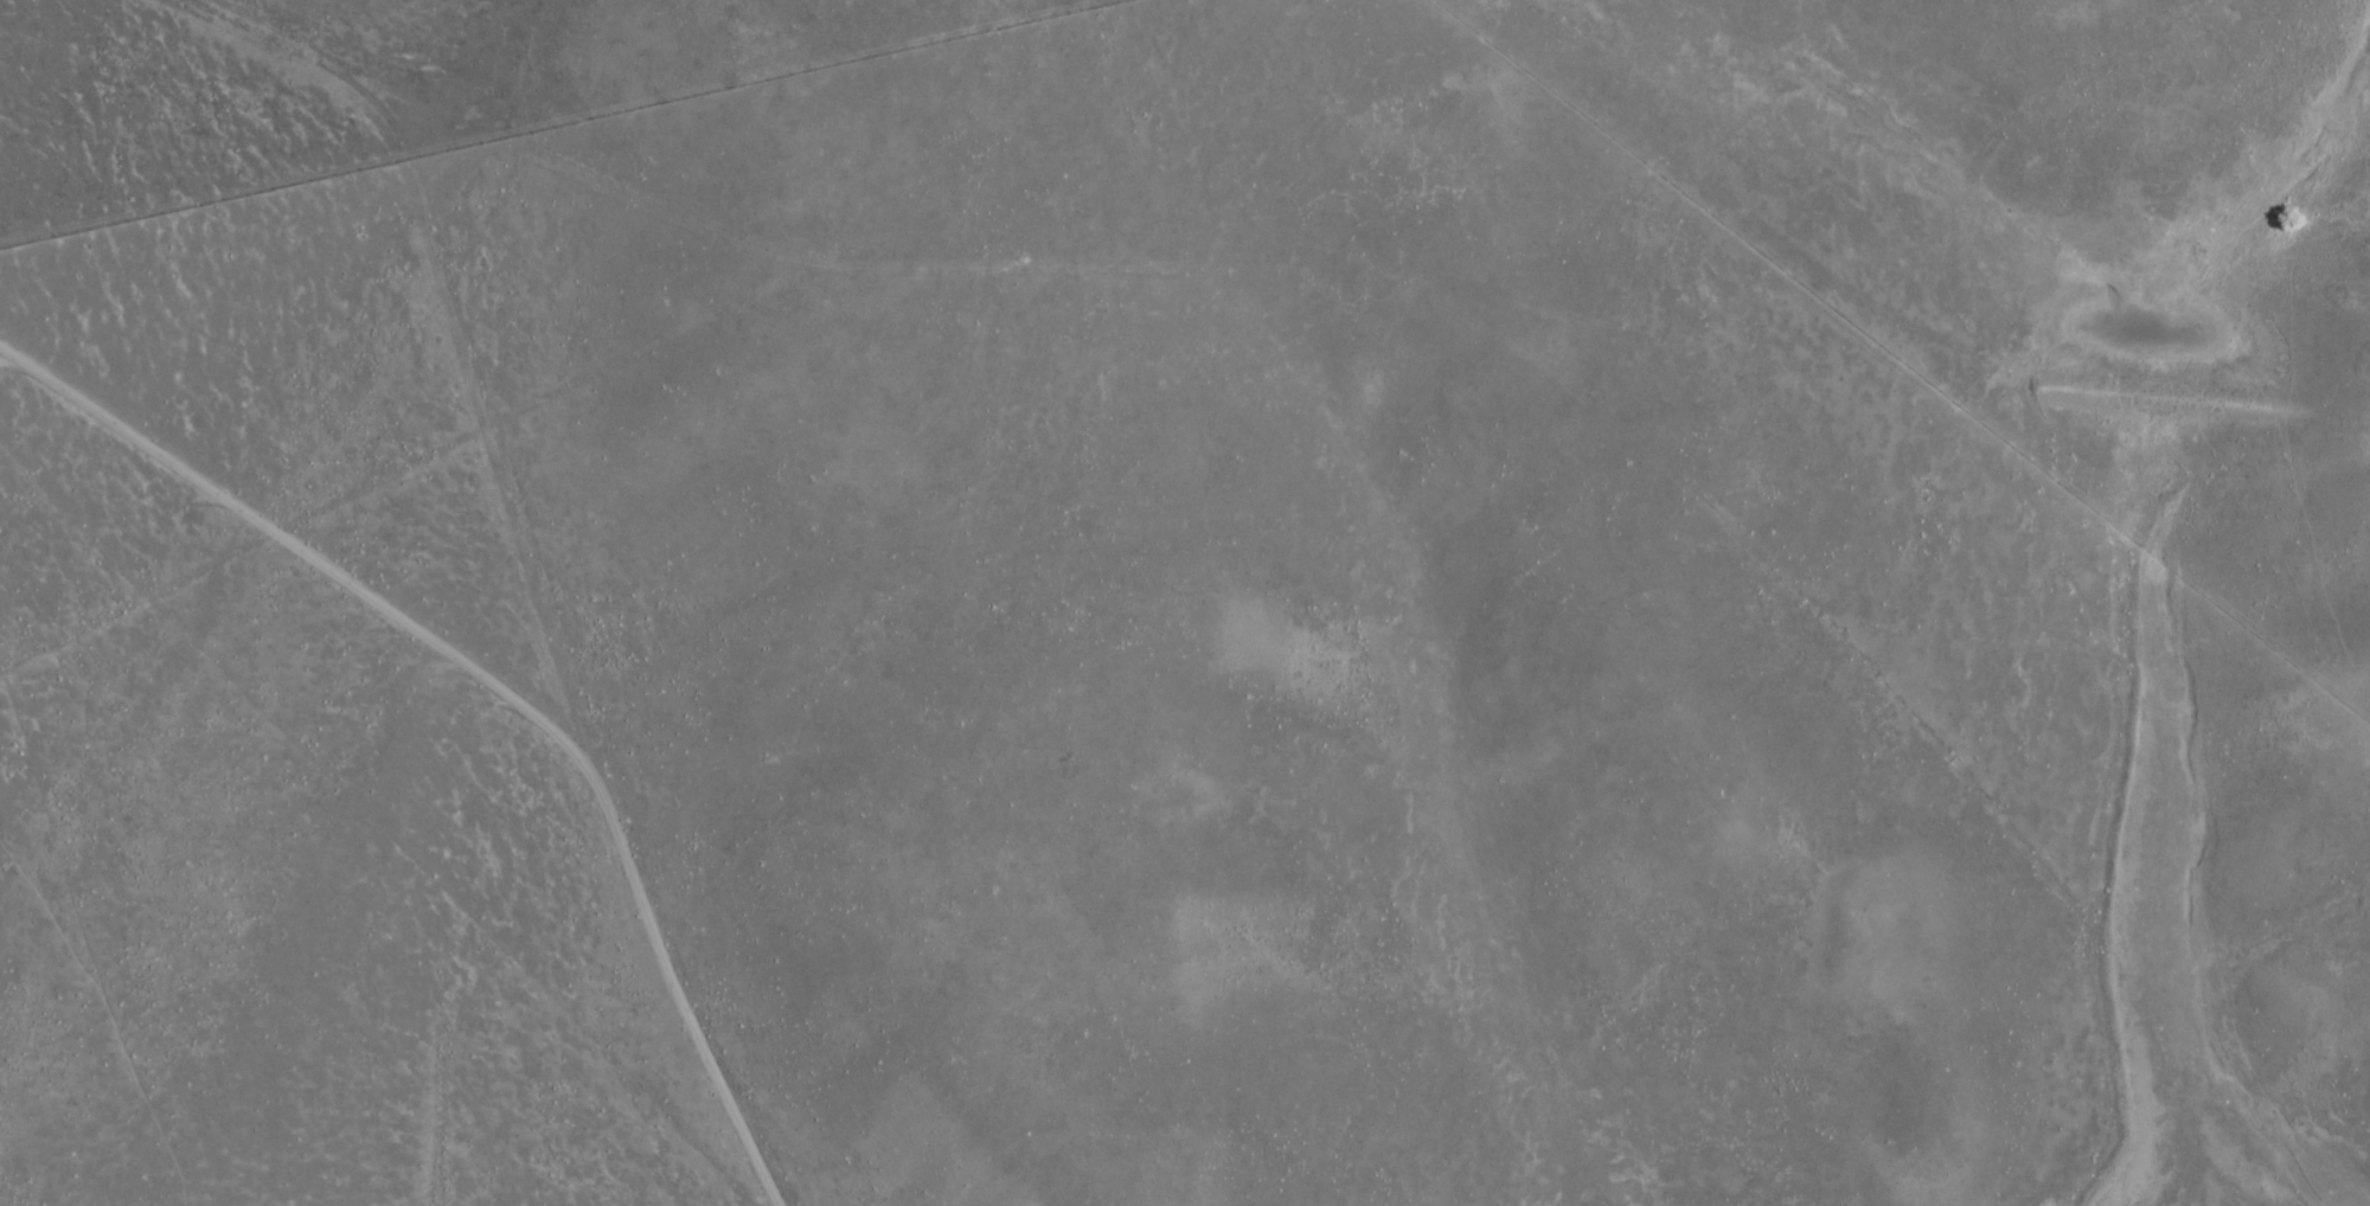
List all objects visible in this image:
airport: (377, 82)
road: (547, 118)
road: (451, 327)
road: (491, 692)

